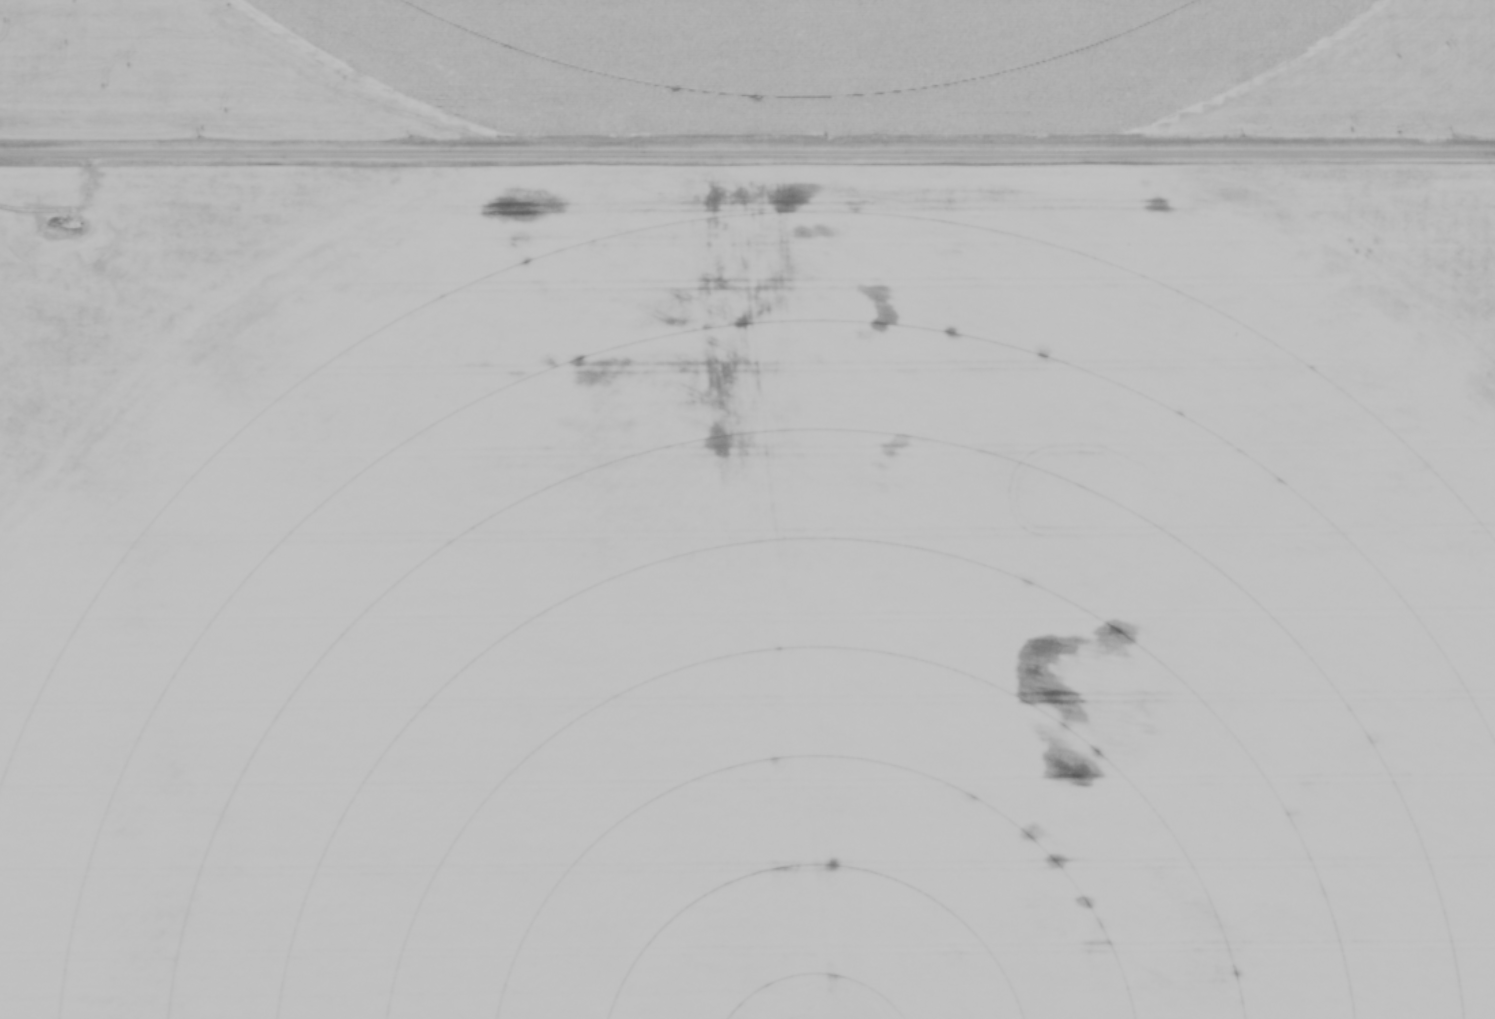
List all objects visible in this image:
road: (747, 154)

